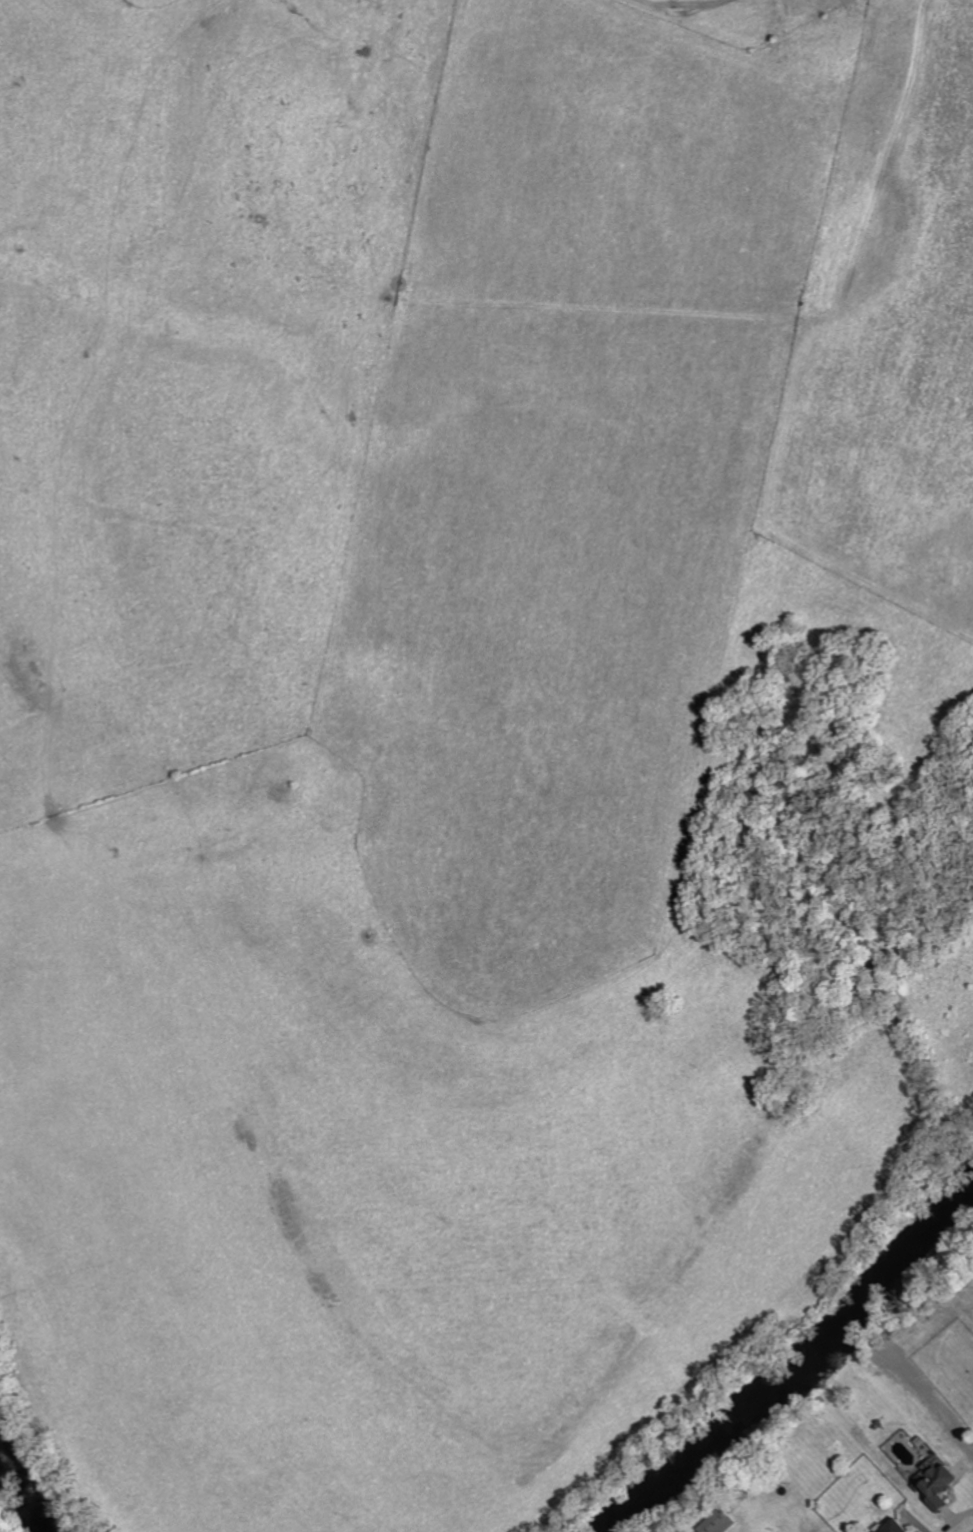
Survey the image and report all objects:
building: (946, 1486)
building: (902, 1527)

